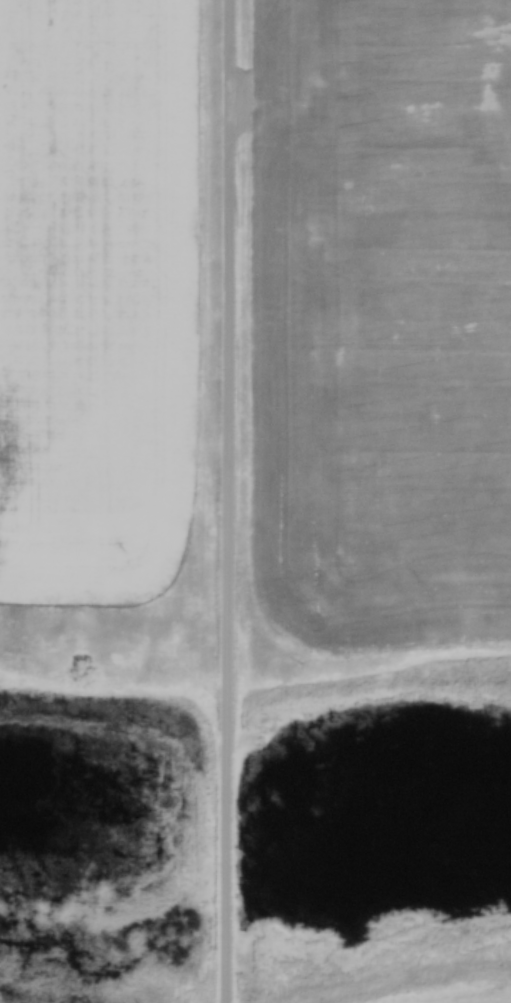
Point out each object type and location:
road: (225, 501)

